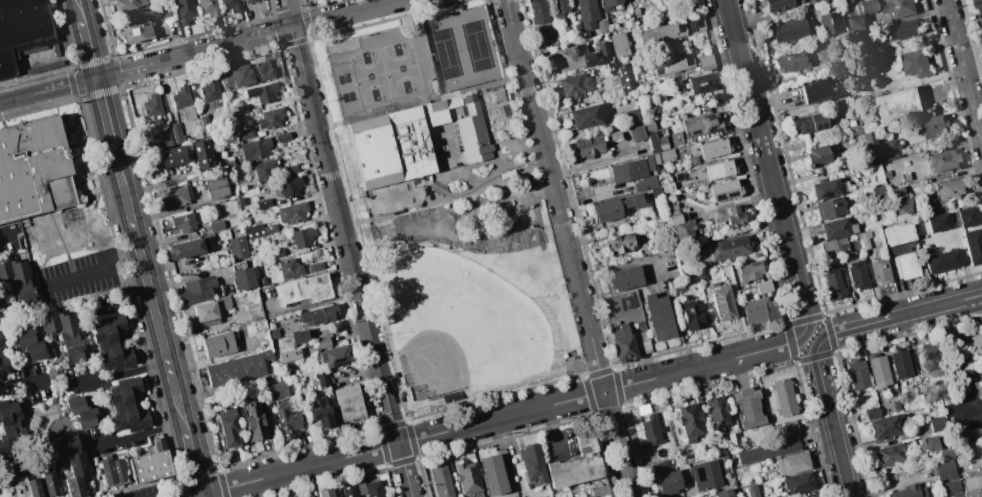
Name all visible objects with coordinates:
building: (161, 0)
building: (248, 1)
building: (805, 1)
building: (848, 1)
building: (127, 4)
building: (231, 4)
building: (610, 4)
building: (778, 4)
building: (978, 5)
building: (866, 6)
building: (209, 7)
building: (898, 7)
building: (559, 8)
building: (185, 10)
road: (80, 11)
building: (538, 11)
building: (166, 13)
building: (587, 13)
rooftop solar panel: (696, 23)
building: (831, 23)
building: (855, 23)
building: (697, 24)
building: (979, 24)
building: (602, 25)
rooftop solar panel: (682, 26)
building: (788, 28)
building: (21, 29)
building: (135, 30)
building: (904, 30)
building: (580, 31)
building: (661, 33)
building: (619, 44)
park: (476, 45)
building: (603, 49)
road: (90, 50)
road: (199, 51)
park: (445, 53)
building: (573, 57)
rooftop solar panel: (688, 58)
building: (791, 61)
building: (705, 62)
building: (915, 62)
building: (672, 64)
park: (401, 67)
rooftop solar panel: (659, 69)
road: (964, 70)
building: (251, 71)
park: (370, 75)
building: (625, 77)
traffic signals: (97, 78)
park: (343, 78)
building: (703, 81)
building: (574, 85)
rooftop solar panel: (699, 86)
building: (819, 89)
building: (209, 90)
building: (262, 92)
building: (496, 96)
road: (532, 97)
building: (718, 97)
building: (182, 102)
building: (897, 105)
building: (151, 106)
building: (240, 108)
road: (105, 112)
building: (630, 115)
building: (587, 116)
rooftop solar panel: (708, 117)
building: (270, 118)
building: (204, 122)
building: (809, 122)
building: (510, 123)
building: (701, 124)
rooftop solar panel: (824, 125)
building: (854, 125)
rooftop solar panel: (815, 126)
building: (933, 126)
rooftop solar panel: (711, 130)
building: (177, 132)
building: (473, 132)
building: (636, 133)
rooftop solar panel: (697, 133)
building: (246, 134)
building: (612, 135)
building: (282, 136)
building: (676, 138)
building: (162, 140)
building: (656, 141)
building: (396, 142)
building: (588, 146)
building: (712, 147)
building: (870, 147)
building: (255, 148)
building: (887, 150)
building: (202, 154)
building: (666, 154)
building: (172, 156)
building: (815, 156)
building: (693, 159)
building: (942, 160)
building: (649, 162)
road: (768, 165)
building: (32, 169)
building: (263, 169)
building: (290, 169)
building: (718, 169)
building: (628, 171)
building: (904, 176)
building: (644, 183)
building: (289, 186)
building: (215, 187)
building: (667, 187)
building: (825, 188)
building: (948, 188)
building: (724, 190)
building: (655, 191)
building: (899, 194)
rooftop solar panel: (827, 195)
rooftop solar panel: (730, 196)
rooftop solar panel: (734, 196)
rooftop solar panel: (719, 197)
building: (175, 198)
building: (242, 201)
building: (262, 203)
building: (613, 207)
building: (828, 207)
park: (449, 208)
building: (292, 212)
building: (729, 216)
building: (966, 216)
building: (938, 222)
building: (176, 224)
building: (679, 224)
building: (215, 225)
building: (836, 228)
building: (240, 229)
building: (259, 229)
road: (6, 232)
building: (897, 233)
building: (302, 237)
building: (864, 239)
building: (619, 243)
building: (842, 245)
building: (973, 245)
building: (237, 247)
building: (828, 247)
building: (187, 248)
road: (349, 248)
building: (720, 250)
building: (276, 254)
building: (942, 260)
building: (906, 265)
building: (315, 266)
building: (288, 268)
building: (748, 271)
building: (879, 271)
road: (95, 272)
building: (857, 274)
building: (242, 275)
building: (625, 278)
building: (261, 280)
building: (832, 280)
building: (18, 282)
building: (763, 286)
building: (303, 289)
road: (150, 290)
building: (197, 290)
road: (581, 292)
rooftop solar panel: (633, 299)
rooftop solar panel: (629, 301)
building: (723, 302)
rooftop solar panel: (623, 303)
rooftop solar panel: (719, 304)
building: (211, 309)
building: (759, 310)
road: (1, 311)
building: (319, 314)
building: (691, 314)
road: (901, 315)
building: (657, 316)
building: (622, 321)
park: (460, 325)
building: (249, 330)
building: (63, 334)
building: (299, 336)
road: (814, 338)
building: (323, 342)
building: (1, 343)
building: (29, 343)
building: (112, 343)
building: (220, 343)
building: (976, 345)
building: (334, 355)
building: (933, 358)
building: (954, 362)
building: (901, 363)
building: (3, 365)
building: (237, 368)
building: (920, 369)
building: (879, 371)
road: (122, 374)
building: (858, 374)
building: (321, 379)
building: (980, 379)
road: (23, 387)
building: (275, 390)
building: (783, 396)
building: (349, 403)
building: (128, 405)
building: (896, 405)
building: (748, 407)
building: (717, 411)
building: (81, 412)
building: (320, 413)
building: (872, 413)
road: (505, 416)
building: (285, 419)
building: (689, 420)
road: (833, 420)
building: (254, 421)
building: (937, 424)
building: (227, 426)
building: (886, 427)
building: (10, 428)
road: (554, 428)
building: (790, 428)
building: (651, 429)
building: (733, 440)
building: (924, 443)
road: (618, 444)
building: (766, 451)
building: (891, 454)
building: (724, 458)
building: (151, 463)
building: (532, 463)
building: (792, 463)
building: (975, 463)
building: (72, 464)
road: (194, 464)
building: (575, 464)
building: (945, 469)
building: (112, 471)
building: (491, 474)
building: (705, 475)
building: (467, 479)
building: (441, 480)
building: (668, 481)
building: (50, 482)
building: (797, 482)
road: (148, 484)
building: (972, 486)
building: (34, 487)
building: (360, 487)
building: (950, 487)
building: (14, 488)
building: (374, 489)
building: (349, 490)
building: (600, 490)
building: (752, 490)
building: (909, 491)
parking lot: (146, 492)
building: (325, 492)
building: (723, 493)
road: (203, 496)
building: (308, 496)
building: (590, 496)
building: (595, 496)
building: (954, 496)

